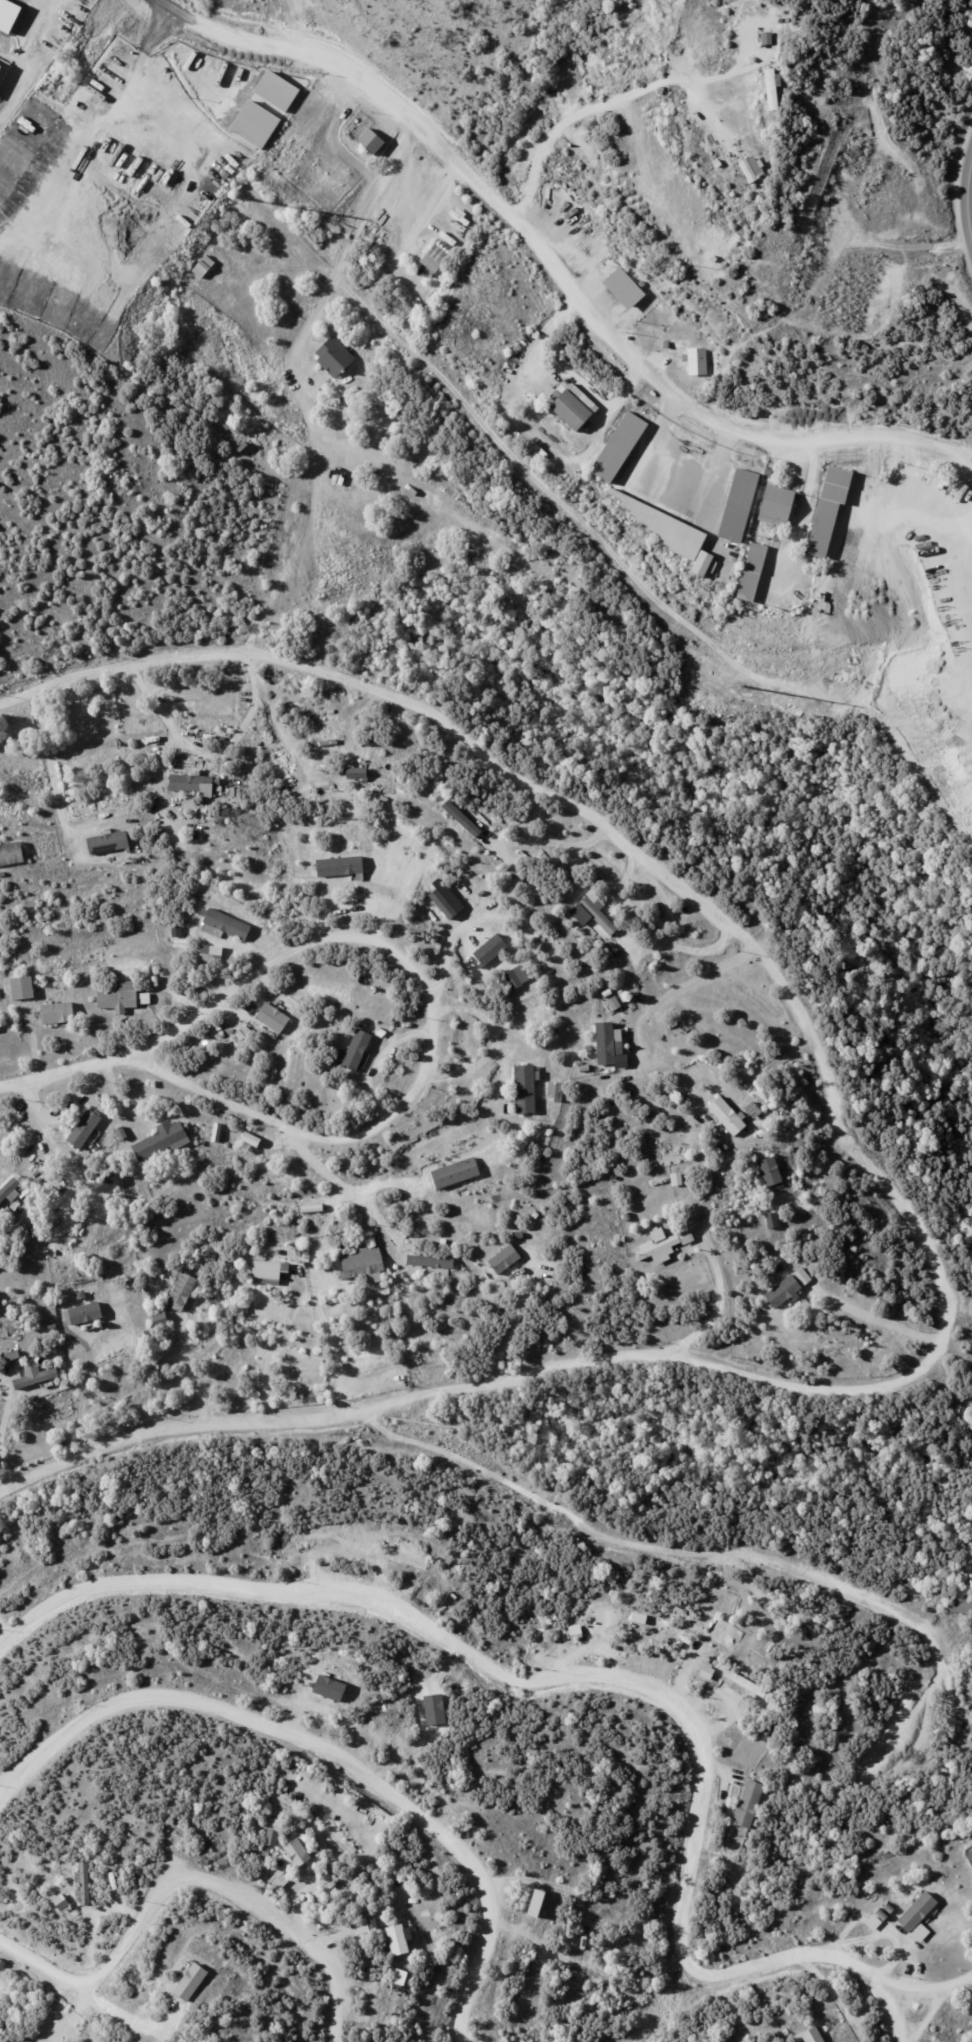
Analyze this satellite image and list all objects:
building: (771, 87)
building: (374, 141)
building: (753, 168)
power tower: (250, 199)
road: (432, 213)
road: (74, 251)
road: (342, 253)
building: (436, 259)
building: (202, 266)
road: (554, 267)
building: (628, 288)
building: (667, 345)
building: (335, 356)
building: (697, 361)
building: (573, 405)
building: (229, 426)
building: (543, 428)
building: (620, 448)
building: (247, 450)
building: (739, 505)
building: (778, 506)
building: (832, 507)
building: (665, 525)
building: (722, 540)
building: (701, 563)
building: (755, 571)
power tower: (742, 685)
road: (205, 752)
road: (49, 760)
building: (356, 772)
building: (196, 782)
building: (234, 791)
building: (241, 809)
building: (462, 815)
building: (110, 842)
building: (377, 851)
building: (12, 852)
building: (371, 852)
building: (343, 866)
building: (3, 874)
building: (526, 875)
building: (453, 914)
building: (600, 915)
building: (229, 924)
building: (579, 937)
building: (492, 949)
building: (617, 950)
building: (210, 954)
building: (515, 977)
road: (696, 979)
building: (157, 980)
building: (24, 987)
building: (610, 993)
building: (122, 997)
building: (143, 998)
building: (617, 1003)
building: (60, 1013)
building: (275, 1017)
building: (610, 1040)
building: (590, 1048)
building: (360, 1050)
road: (820, 1061)
road: (771, 1065)
building: (586, 1068)
road: (63, 1073)
building: (527, 1088)
road: (414, 1089)
building: (558, 1091)
building: (629, 1092)
building: (547, 1110)
building: (756, 1110)
building: (654, 1116)
building: (730, 1116)
building: (85, 1128)
building: (123, 1133)
building: (250, 1138)
building: (165, 1140)
building: (728, 1147)
building: (772, 1171)
building: (39, 1173)
building: (457, 1174)
building: (42, 1178)
building: (105, 1182)
building: (14, 1191)
building: (2, 1213)
road: (378, 1215)
building: (628, 1217)
building: (773, 1220)
building: (521, 1236)
building: (688, 1236)
building: (660, 1246)
building: (280, 1252)
building: (308, 1254)
building: (474, 1254)
building: (230, 1260)
building: (506, 1260)
building: (431, 1261)
building: (364, 1263)
building: (782, 1269)
building: (267, 1272)
building: (801, 1276)
building: (149, 1292)
building: (184, 1292)
building: (788, 1292)
building: (82, 1295)
road: (721, 1304)
road: (297, 1305)
building: (88, 1313)
road: (517, 1315)
building: (159, 1318)
road: (878, 1321)
building: (53, 1327)
building: (397, 1336)
building: (44, 1342)
building: (14, 1356)
building: (36, 1377)
road: (88, 1393)
road: (518, 1493)
building: (942, 1599)
building: (961, 1605)
road: (566, 1680)
building: (770, 1733)
road: (327, 1749)
building: (282, 1770)
building: (288, 1785)
building: (750, 1804)
building: (968, 1836)
building: (274, 1837)
building: (299, 1851)
building: (969, 1857)
building: (265, 1859)
building: (280, 1877)
building: (922, 1881)
building: (83, 1882)
road: (188, 1885)
building: (60, 1901)
building: (535, 1902)
building: (886, 1910)
building: (917, 1912)
building: (879, 1916)
building: (872, 1922)
building: (363, 1926)
building: (400, 1940)
building: (455, 1944)
building: (193, 1982)
road: (936, 1994)
road: (899, 2016)
building: (786, 2021)
building: (815, 2035)
building: (20, 2040)

